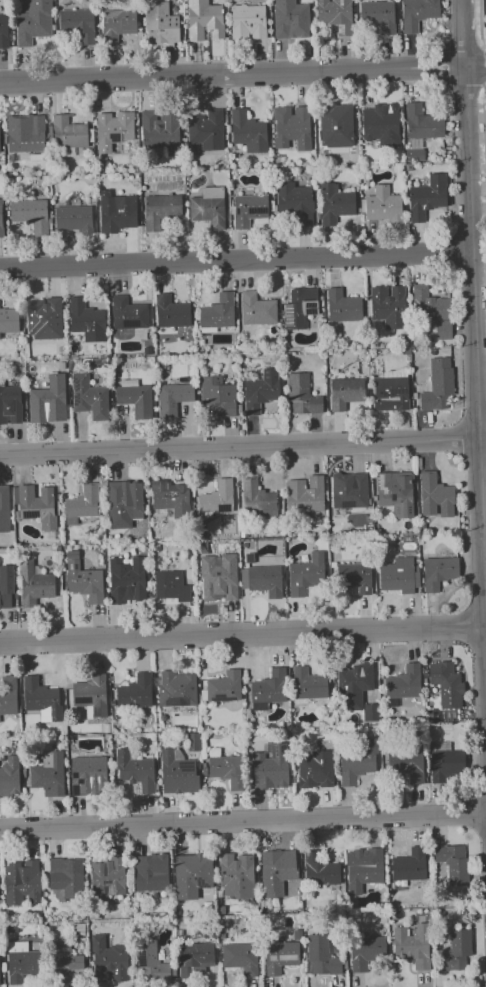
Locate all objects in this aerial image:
building: (335, 14)
building: (378, 15)
building: (204, 19)
building: (290, 19)
building: (247, 21)
road: (483, 21)
building: (33, 22)
building: (160, 23)
building: (78, 24)
building: (117, 24)
building: (3, 30)
road: (475, 65)
road: (232, 74)
road: (484, 121)
building: (422, 122)
building: (381, 124)
building: (336, 125)
building: (291, 126)
building: (113, 129)
building: (206, 129)
building: (248, 131)
building: (159, 132)
building: (25, 133)
building: (68, 133)
building: (427, 196)
building: (295, 202)
building: (334, 203)
building: (383, 205)
building: (208, 207)
building: (160, 209)
building: (248, 209)
building: (116, 212)
building: (31, 214)
building: (73, 218)
road: (236, 260)
building: (388, 305)
building: (342, 306)
building: (299, 307)
building: (256, 309)
building: (432, 310)
building: (217, 311)
building: (171, 312)
building: (128, 313)
building: (44, 317)
building: (9, 319)
building: (86, 320)
road: (473, 323)
building: (438, 384)
building: (391, 390)
building: (260, 391)
building: (345, 392)
building: (302, 395)
building: (89, 397)
building: (134, 397)
building: (217, 397)
building: (172, 398)
building: (48, 400)
building: (10, 404)
road: (243, 446)
building: (349, 490)
building: (395, 492)
building: (304, 494)
building: (435, 496)
building: (217, 497)
building: (171, 498)
building: (257, 498)
building: (124, 503)
building: (82, 504)
building: (35, 505)
building: (4, 508)
building: (438, 572)
building: (306, 574)
building: (399, 575)
building: (354, 576)
building: (218, 577)
building: (83, 579)
building: (262, 579)
building: (126, 580)
building: (6, 586)
building: (170, 586)
road: (242, 632)
building: (404, 682)
building: (308, 683)
building: (446, 683)
building: (353, 685)
building: (224, 686)
building: (176, 688)
building: (268, 689)
building: (135, 691)
building: (8, 694)
building: (91, 695)
building: (41, 699)
building: (370, 712)
building: (193, 741)
building: (357, 761)
building: (406, 764)
building: (445, 764)
building: (270, 767)
building: (315, 769)
building: (135, 770)
building: (227, 770)
building: (177, 772)
building: (48, 774)
building: (88, 775)
building: (9, 776)
road: (243, 821)
building: (453, 862)
building: (409, 865)
building: (363, 868)
building: (319, 869)
building: (276, 871)
building: (150, 872)
building: (192, 874)
building: (236, 875)
building: (66, 876)
building: (107, 877)
building: (21, 882)
building: (412, 945)
building: (456, 950)
building: (365, 951)
building: (280, 956)
building: (321, 956)
building: (240, 957)
building: (193, 958)
building: (108, 960)
building: (21, 961)
building: (151, 962)
building: (66, 963)
road: (484, 986)

